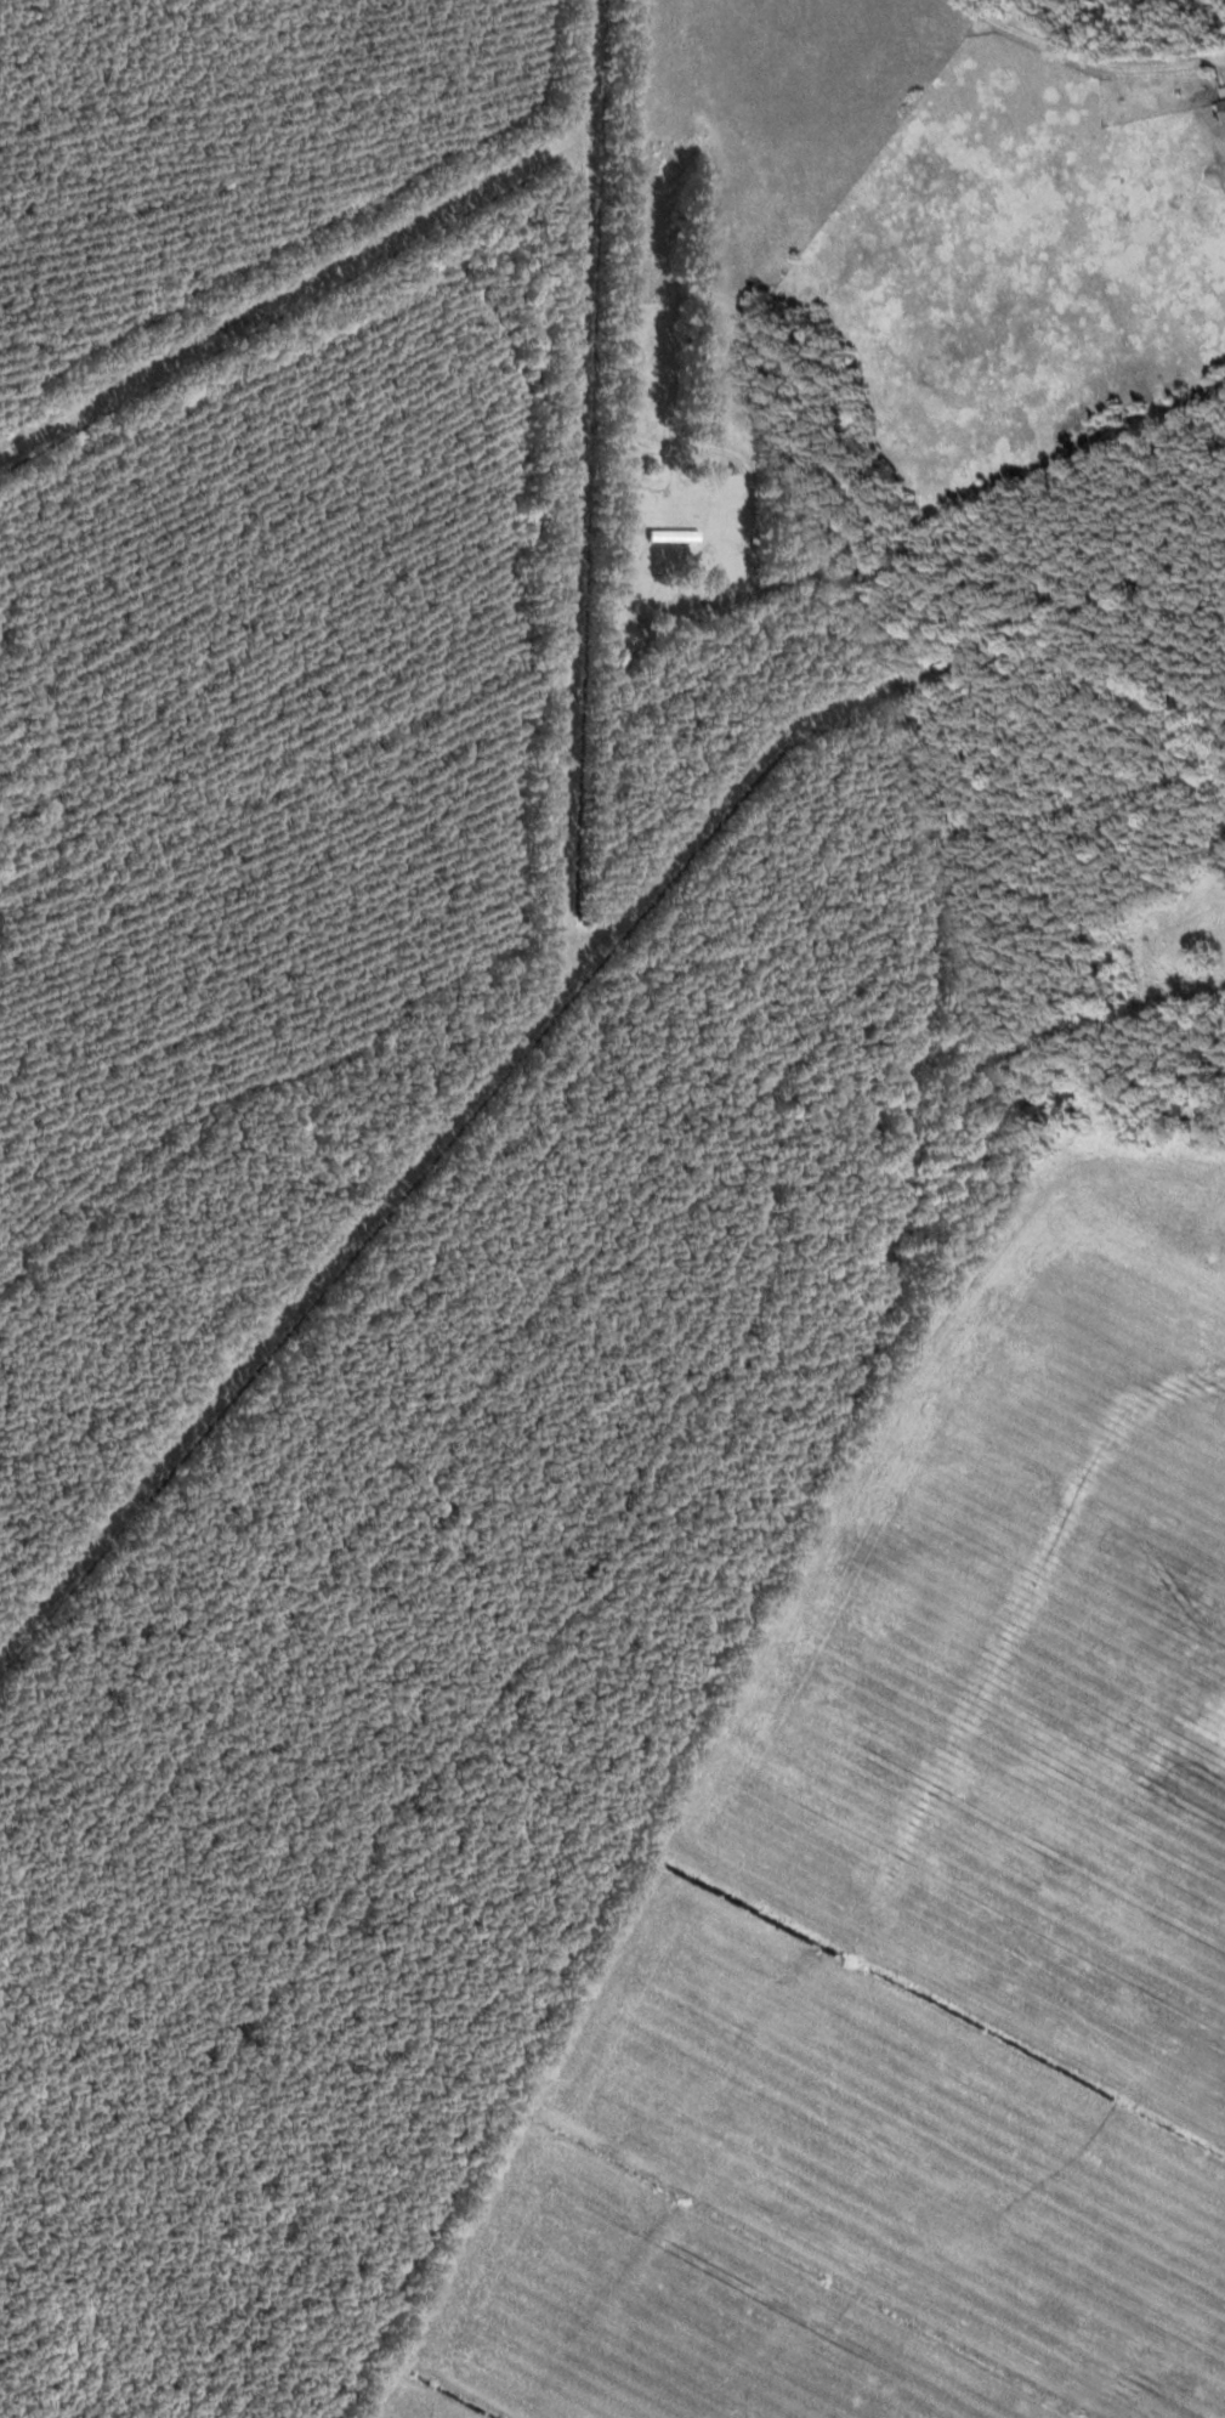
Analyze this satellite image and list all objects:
road: (1095, 164)
building: (673, 534)
building: (616, 645)

